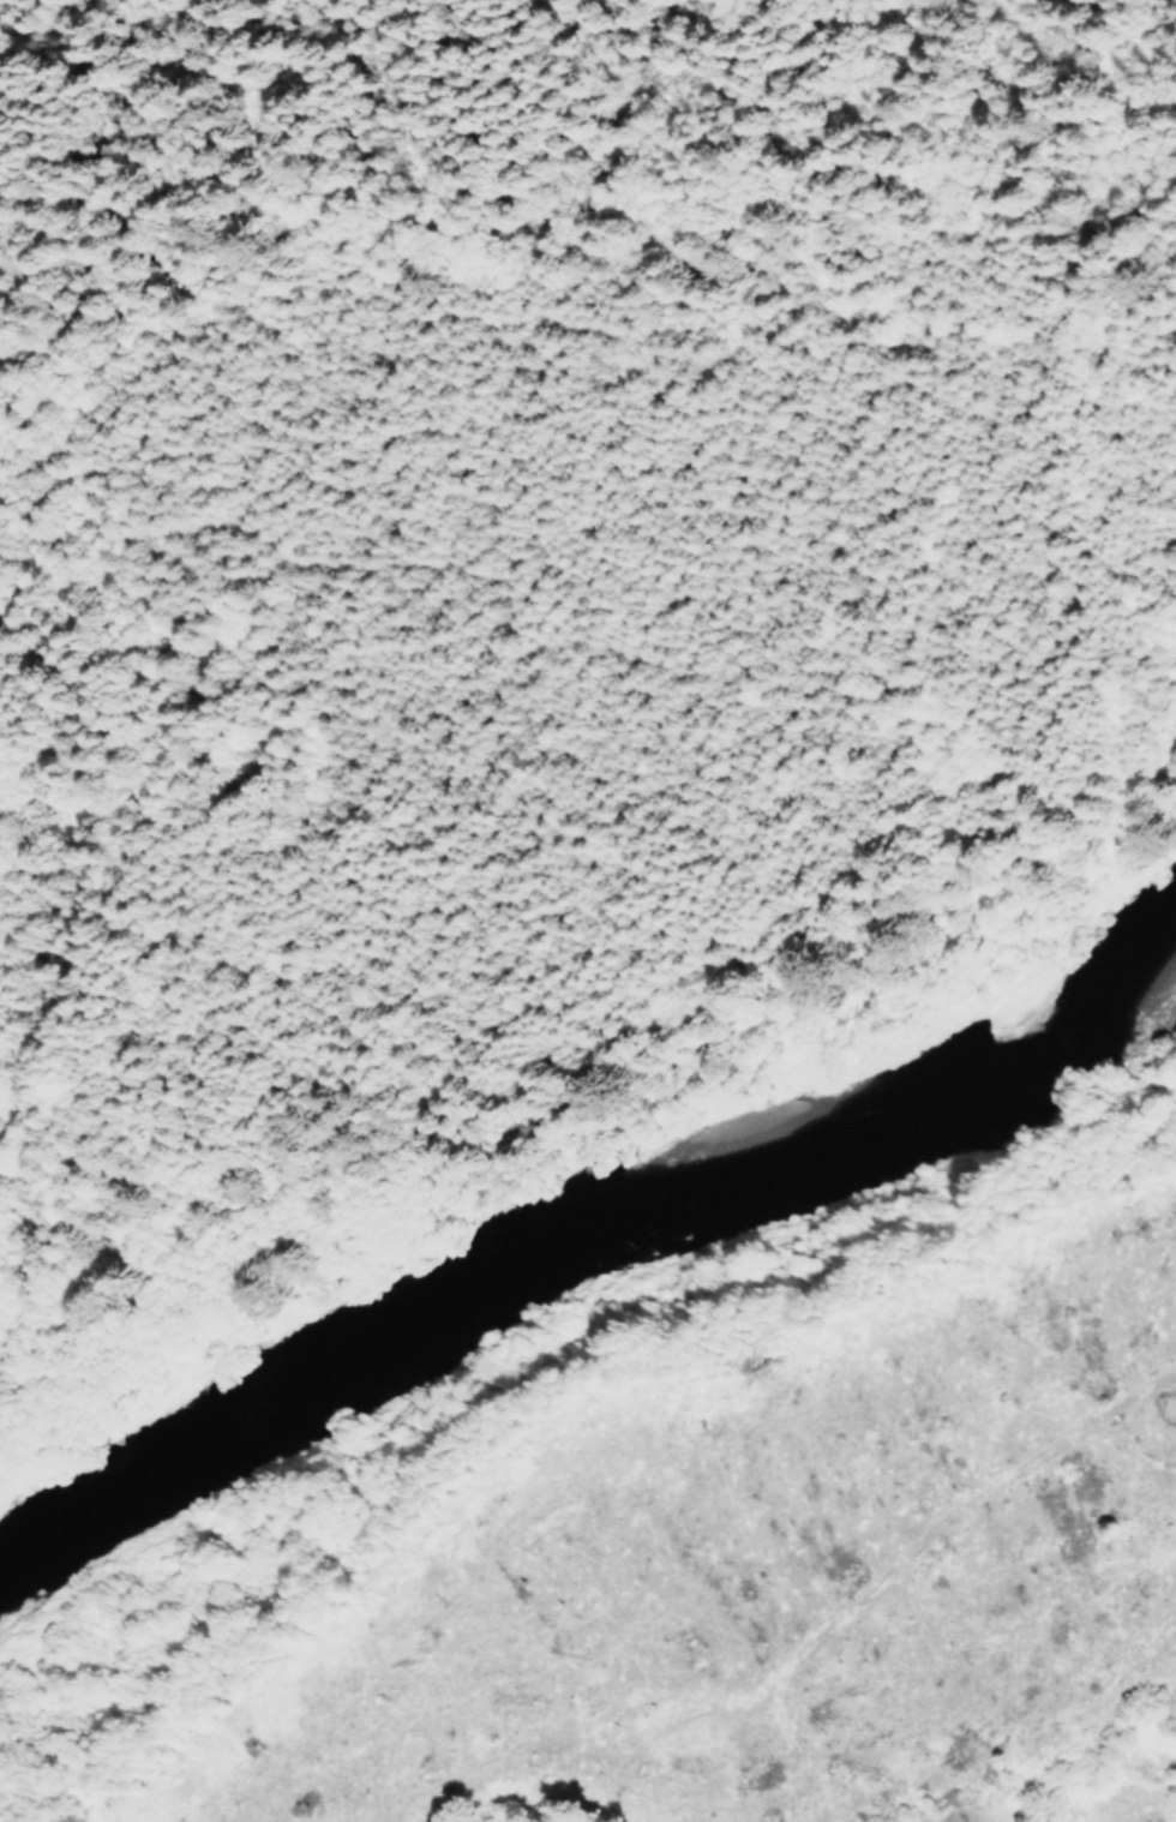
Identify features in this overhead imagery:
river: (595, 1248)

